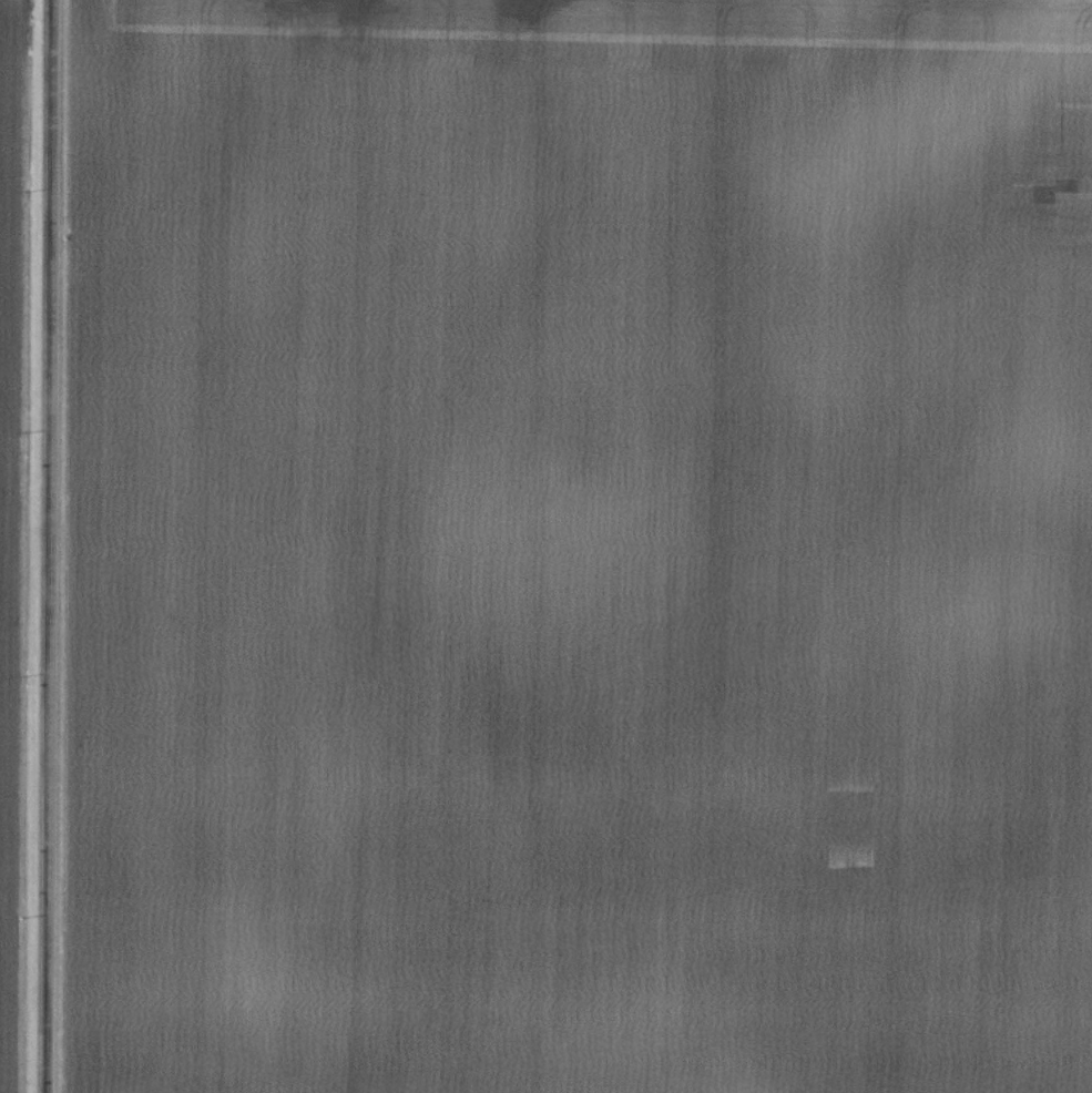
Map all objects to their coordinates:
road: (41, 546)

